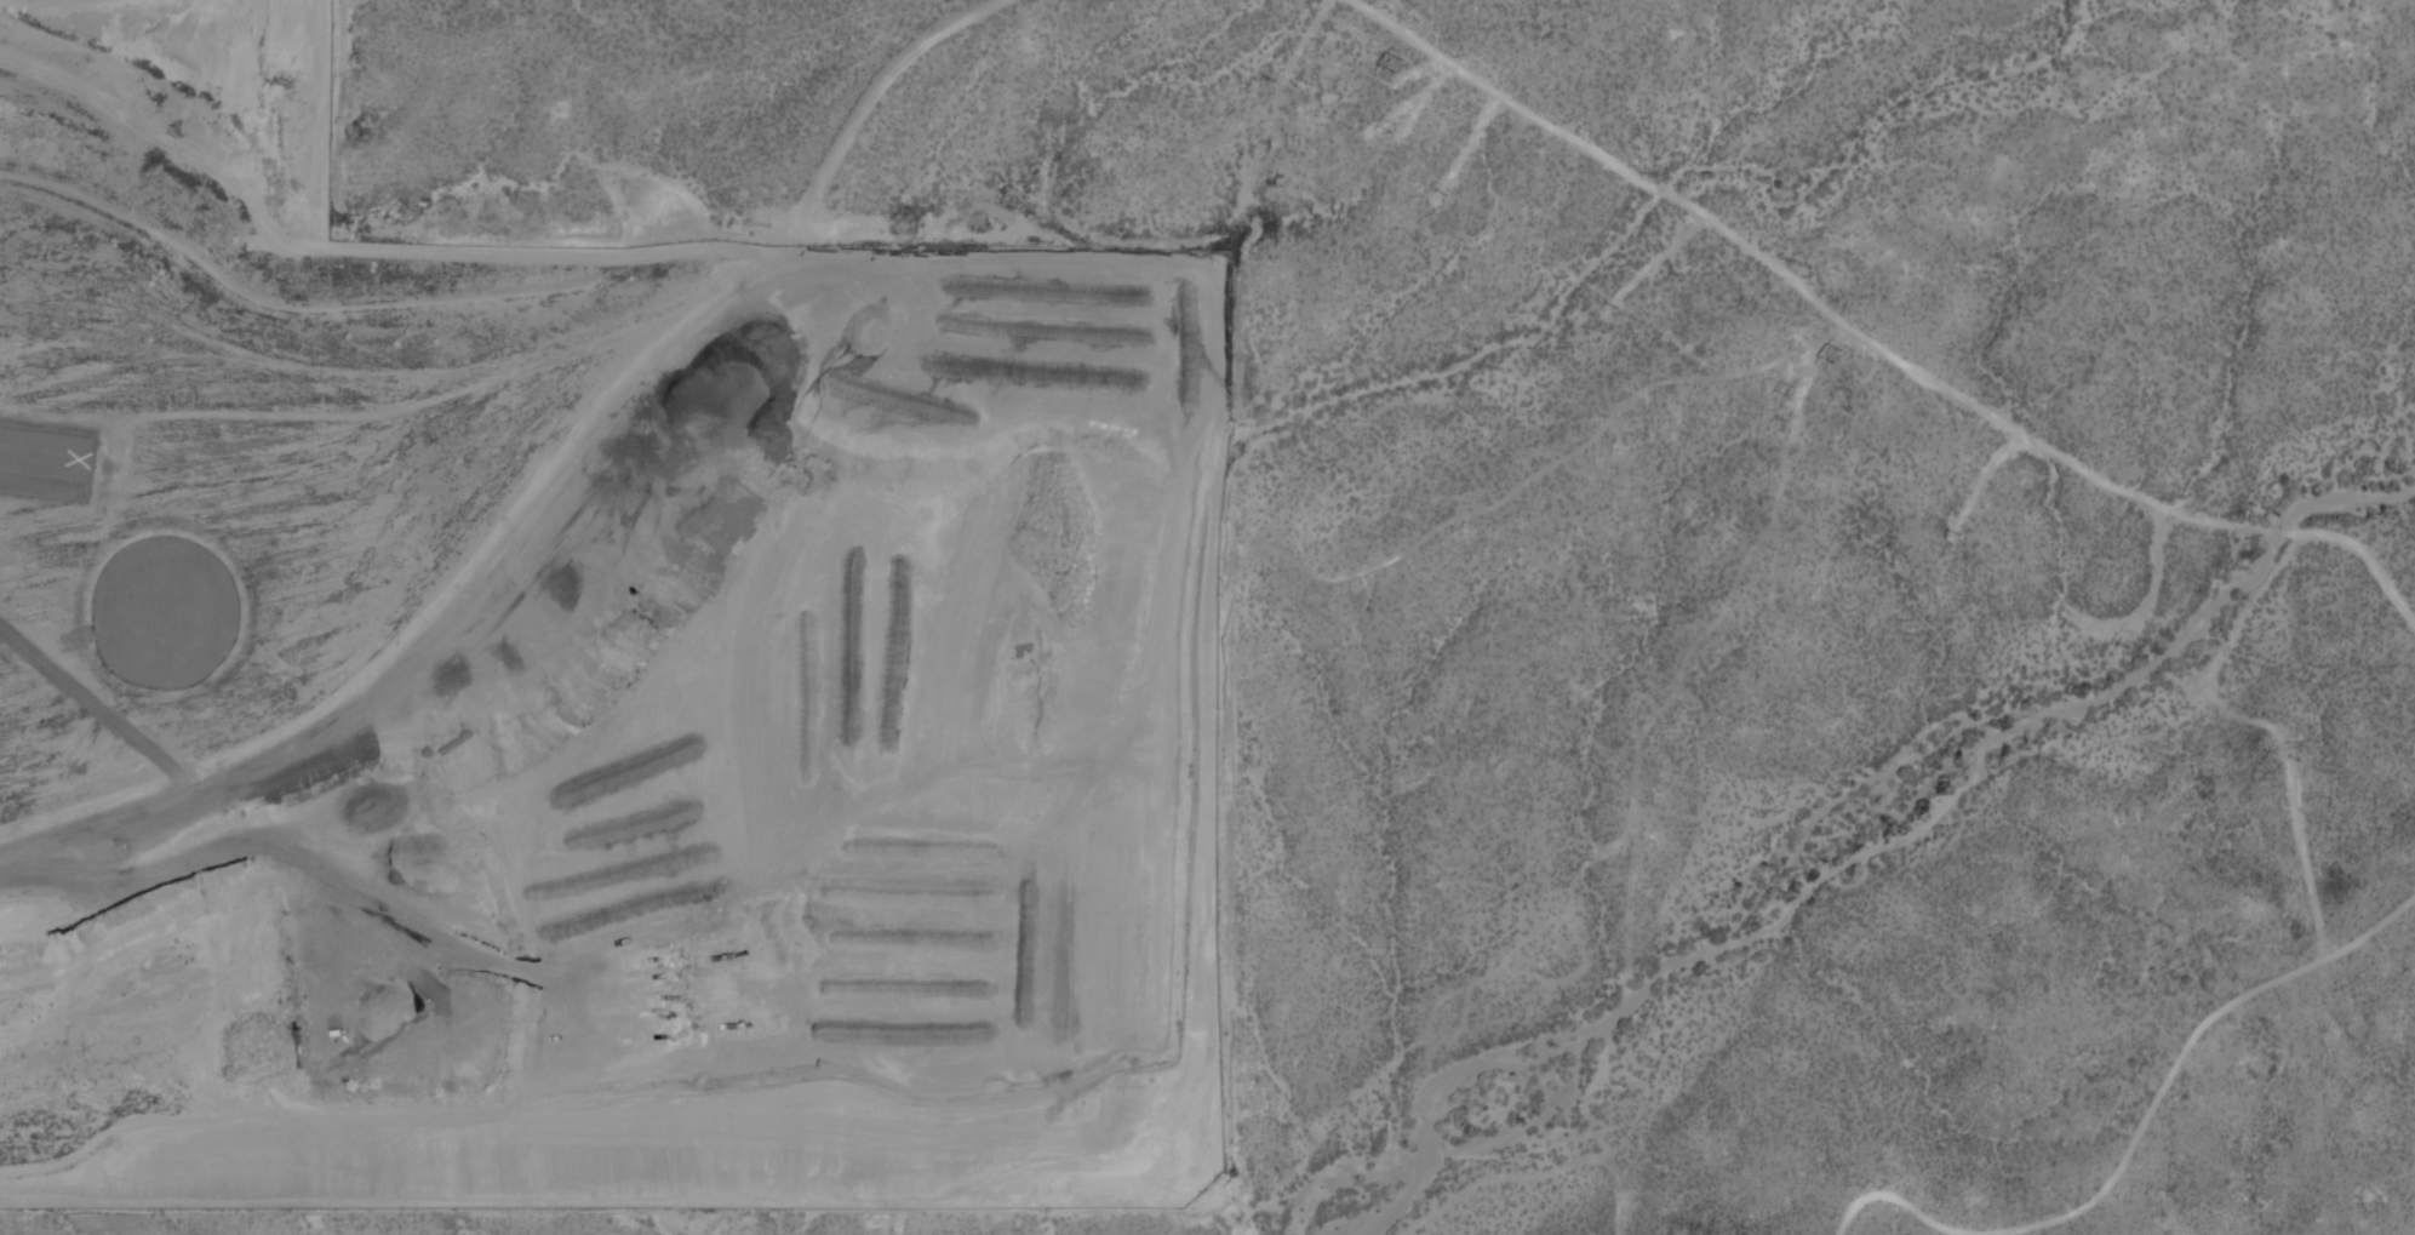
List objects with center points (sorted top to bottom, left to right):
road: (1301, 42)
power tower: (1400, 64)
power tower: (1395, 126)
road: (1465, 147)
road: (1653, 263)
road: (1871, 341)
power tower: (1838, 351)
road: (666, 366)
road: (1807, 366)
power tower: (1793, 389)
road: (1984, 480)
road: (1521, 485)
road: (2140, 607)
road: (2244, 613)
road: (171, 799)
road: (2304, 858)
road: (2138, 1130)
road: (1538, 1174)
road: (610, 1233)

